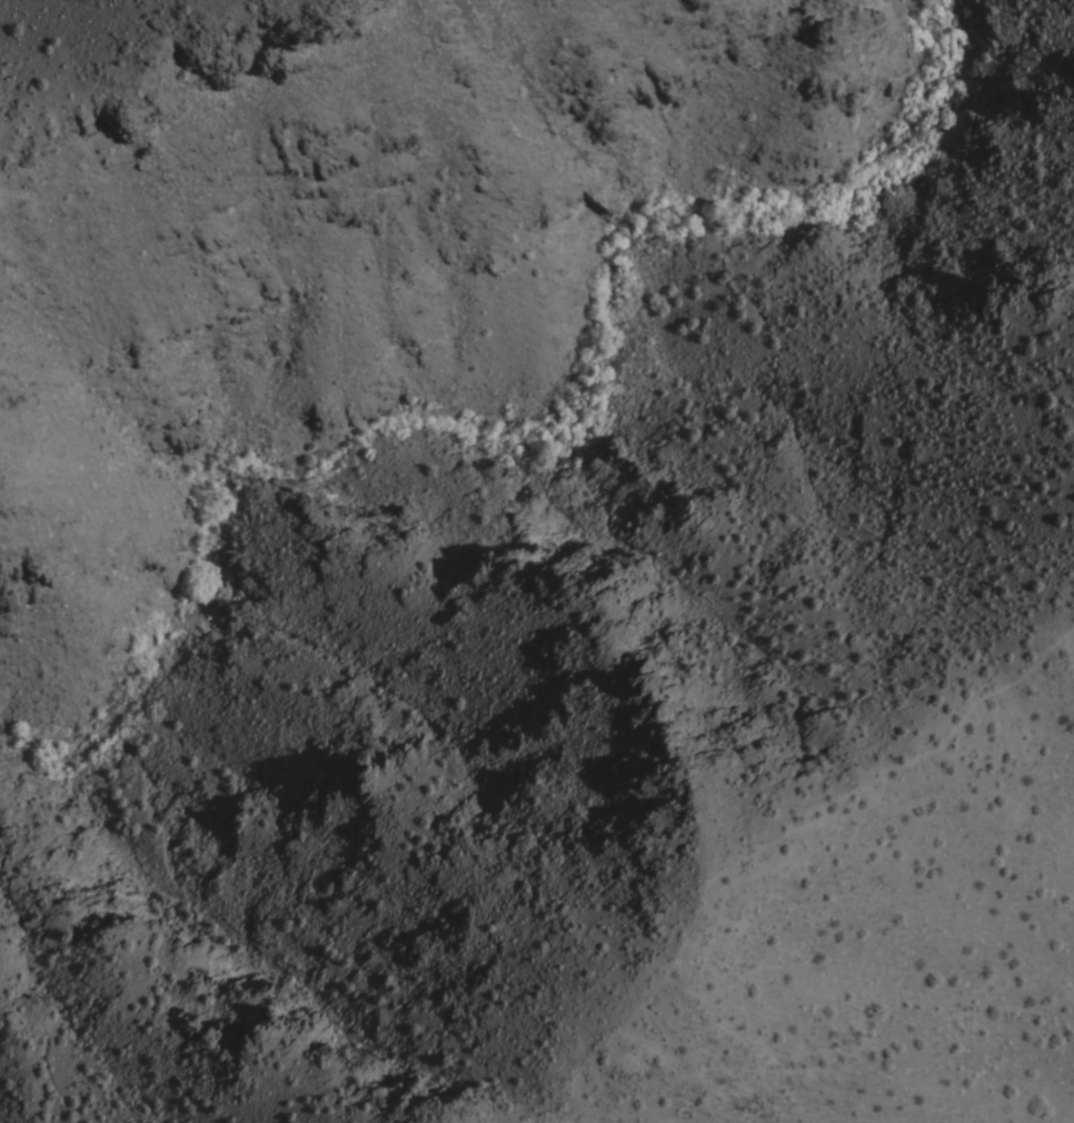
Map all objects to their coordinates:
road: (892, 148)
road: (769, 834)

